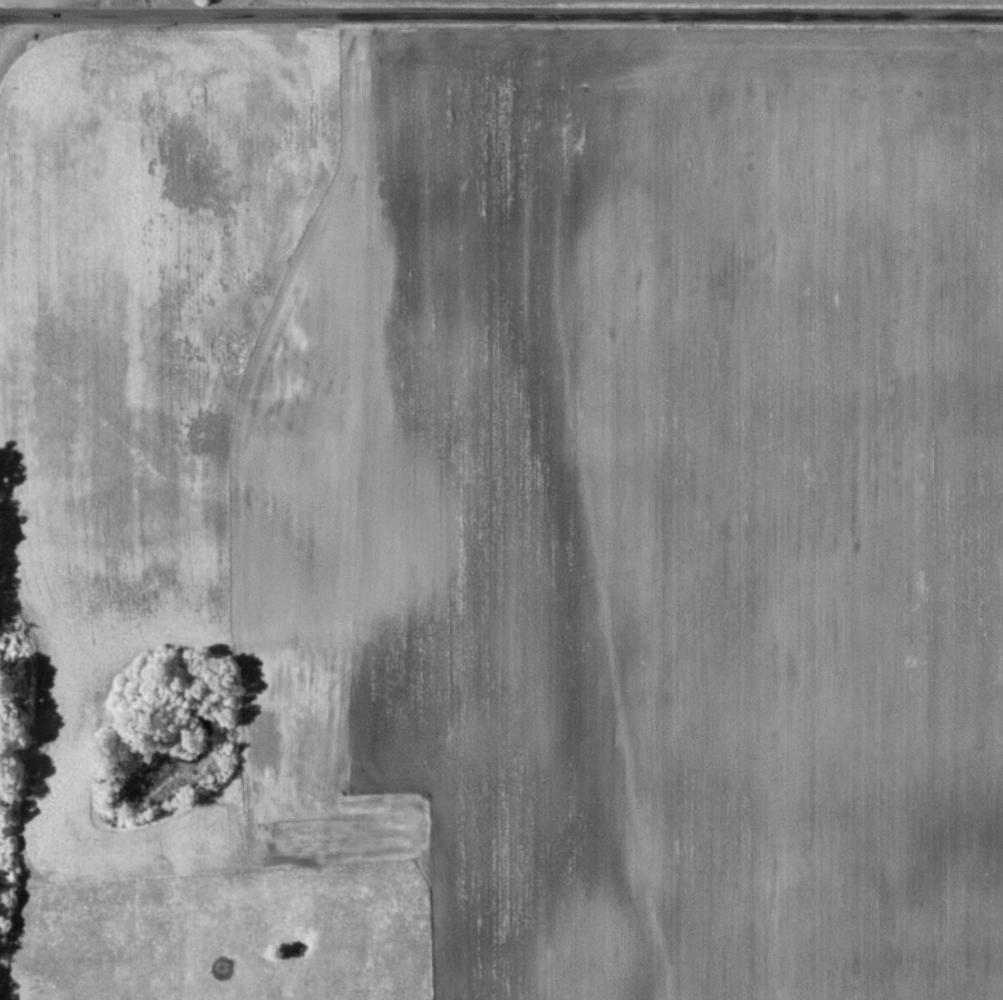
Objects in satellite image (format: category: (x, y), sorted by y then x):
road: (501, 13)

